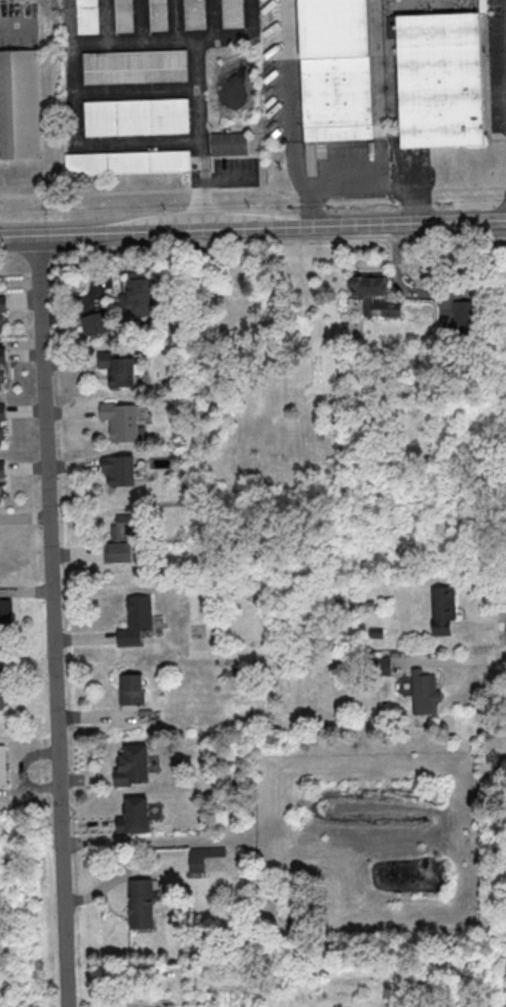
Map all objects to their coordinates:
building: (448, 2)
building: (390, 6)
building: (159, 13)
building: (233, 13)
building: (196, 14)
building: (124, 15)
building: (89, 17)
road: (504, 30)
road: (240, 38)
road: (112, 44)
building: (136, 69)
building: (339, 70)
building: (443, 79)
building: (20, 105)
road: (287, 114)
building: (137, 117)
road: (200, 137)
building: (232, 144)
building: (128, 162)
road: (377, 176)
road: (253, 187)
road: (252, 228)
road: (92, 294)
building: (134, 295)
building: (374, 295)
building: (2, 298)
building: (465, 316)
building: (0, 321)
building: (93, 324)
building: (1, 356)
road: (68, 362)
building: (115, 370)
building: (0, 378)
road: (23, 411)
road: (71, 412)
building: (2, 413)
building: (119, 421)
building: (0, 435)
road: (73, 465)
road: (24, 468)
building: (1, 469)
building: (118, 472)
building: (0, 493)
road: (24, 517)
building: (120, 540)
road: (76, 553)
building: (444, 609)
building: (5, 611)
road: (52, 620)
building: (134, 621)
road: (84, 638)
road: (464, 660)
road: (26, 667)
building: (421, 689)
building: (129, 690)
building: (0, 691)
road: (94, 715)
building: (0, 766)
building: (131, 768)
road: (84, 778)
building: (132, 817)
road: (87, 826)
building: (201, 857)
road: (121, 872)
building: (139, 905)

